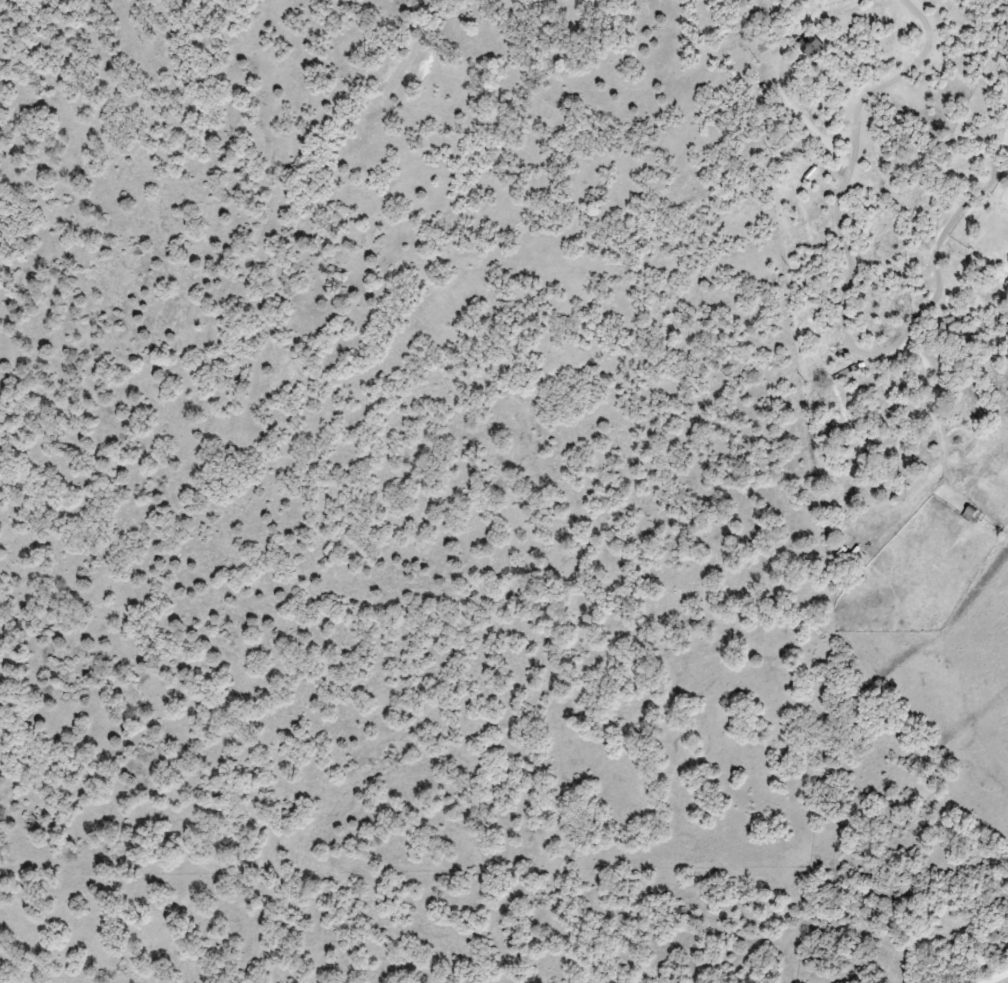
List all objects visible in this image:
building: (810, 47)
road: (842, 303)
road: (998, 978)

